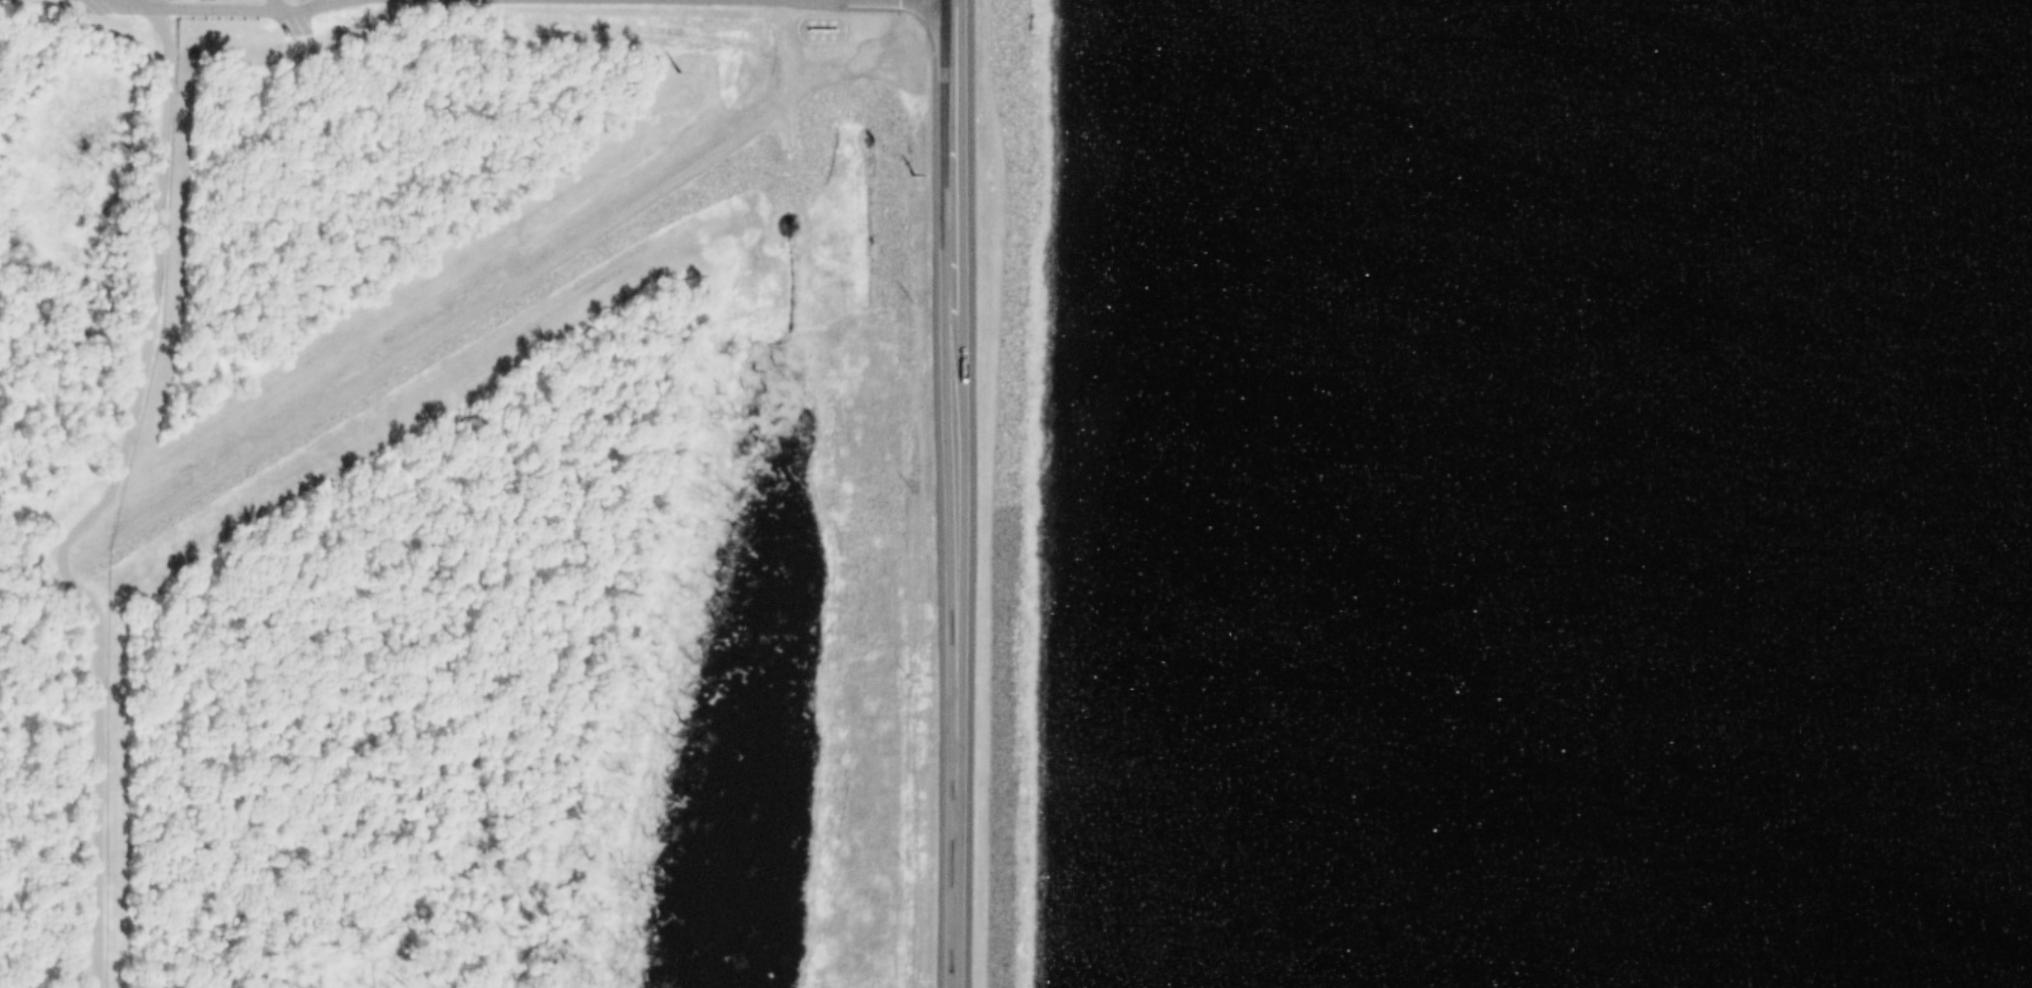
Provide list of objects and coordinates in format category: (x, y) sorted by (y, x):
road: (189, 4)
road: (1015, 154)
road: (116, 495)
road: (1009, 648)

